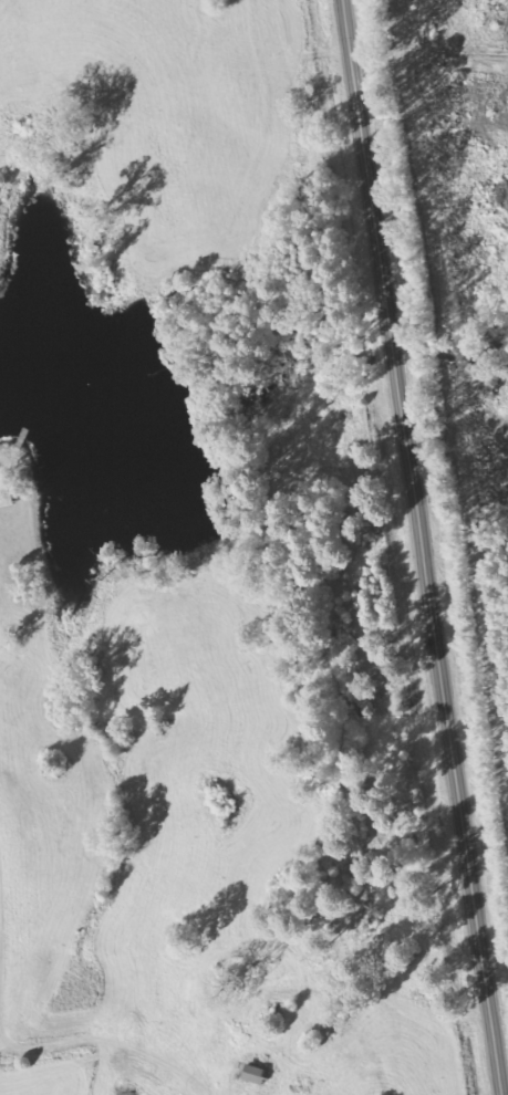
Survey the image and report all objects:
road: (424, 547)

